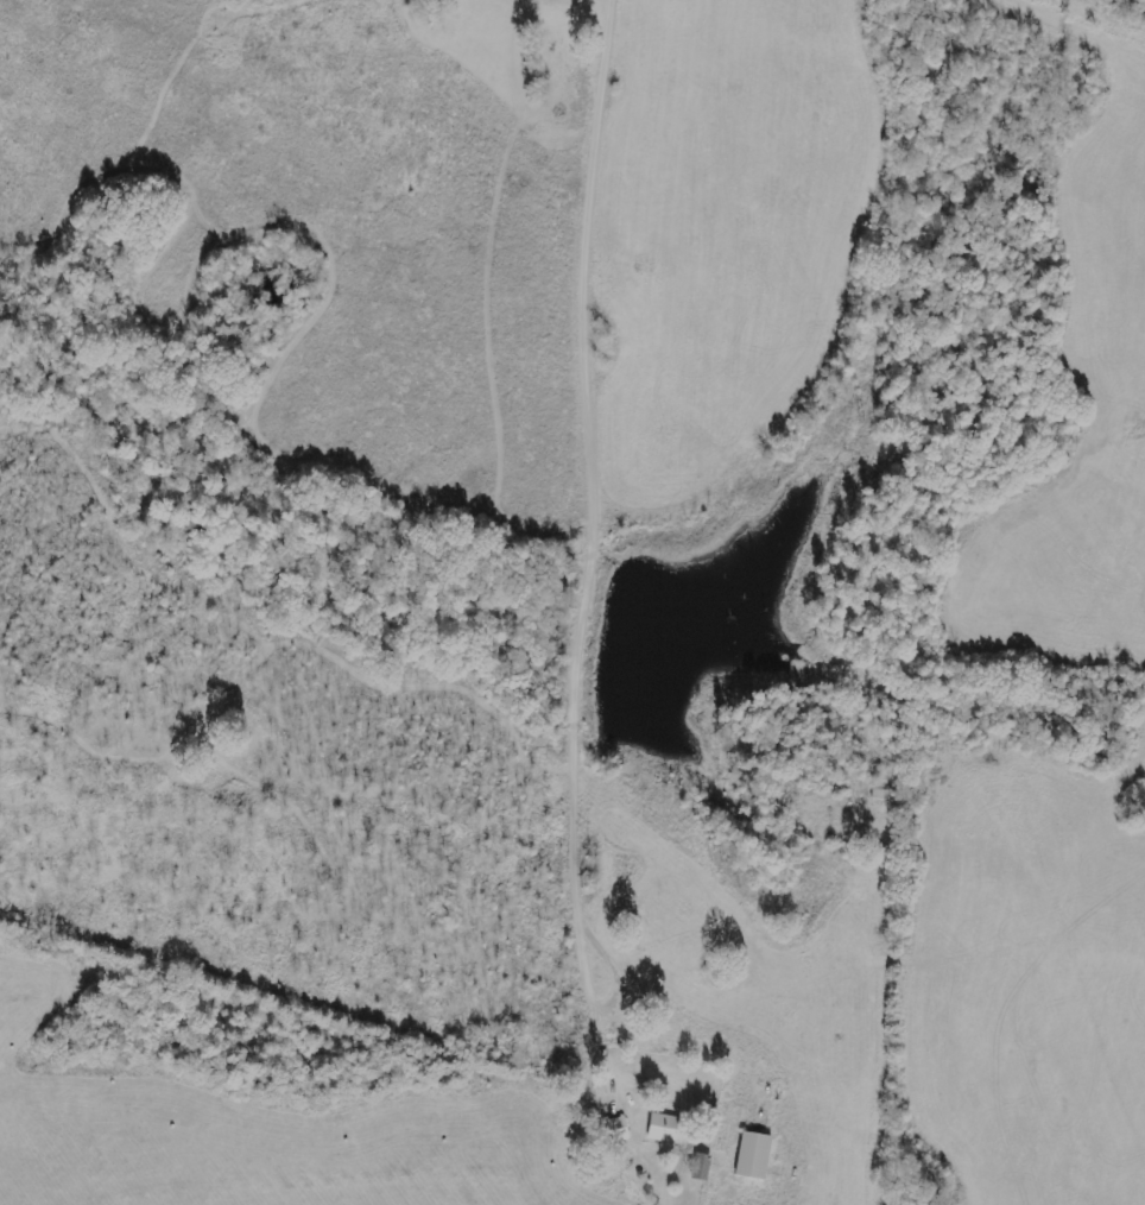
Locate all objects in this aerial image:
road: (607, 534)
building: (664, 1130)
building: (751, 1155)
building: (700, 1166)

